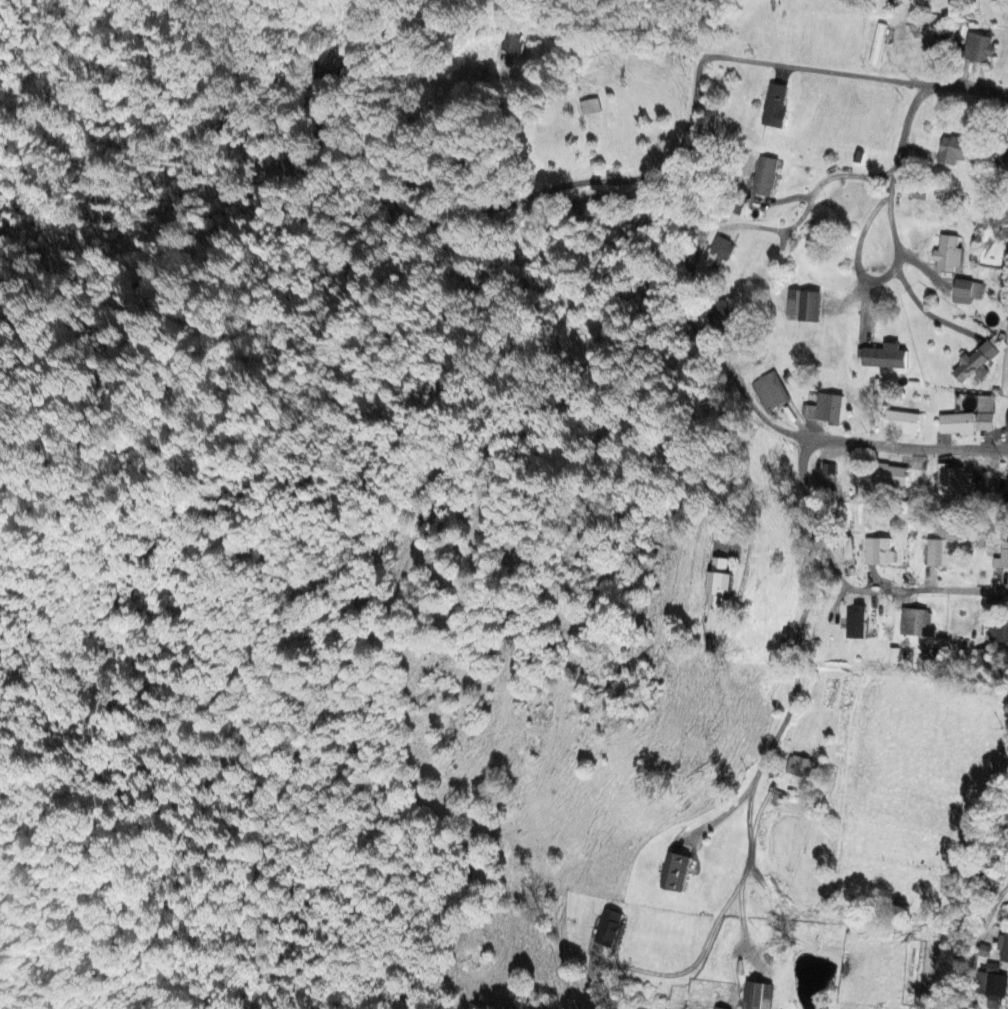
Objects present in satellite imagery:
building: (511, 42)
building: (876, 44)
building: (935, 44)
road: (603, 46)
building: (978, 48)
building: (325, 78)
building: (590, 106)
building: (774, 106)
road: (903, 123)
building: (951, 150)
building: (1001, 159)
road: (672, 169)
building: (764, 176)
road: (817, 186)
road: (890, 195)
building: (815, 232)
road: (857, 244)
building: (718, 252)
building: (947, 254)
building: (965, 291)
building: (802, 305)
building: (723, 314)
building: (882, 357)
building: (974, 362)
building: (768, 391)
building: (824, 408)
road: (755, 410)
building: (984, 412)
building: (900, 420)
building: (1006, 422)
building: (956, 423)
road: (905, 446)
building: (826, 468)
building: (888, 474)
building: (950, 479)
building: (846, 547)
building: (877, 551)
building: (939, 552)
building: (1001, 556)
building: (717, 581)
road: (845, 588)
building: (855, 622)
building: (915, 622)
building: (998, 631)
building: (785, 640)
building: (982, 658)
road: (783, 717)
building: (799, 766)
building: (674, 872)
building: (608, 927)
building: (1003, 946)
road: (994, 958)
road: (696, 961)
building: (991, 984)
building: (756, 995)
building: (717, 1007)

